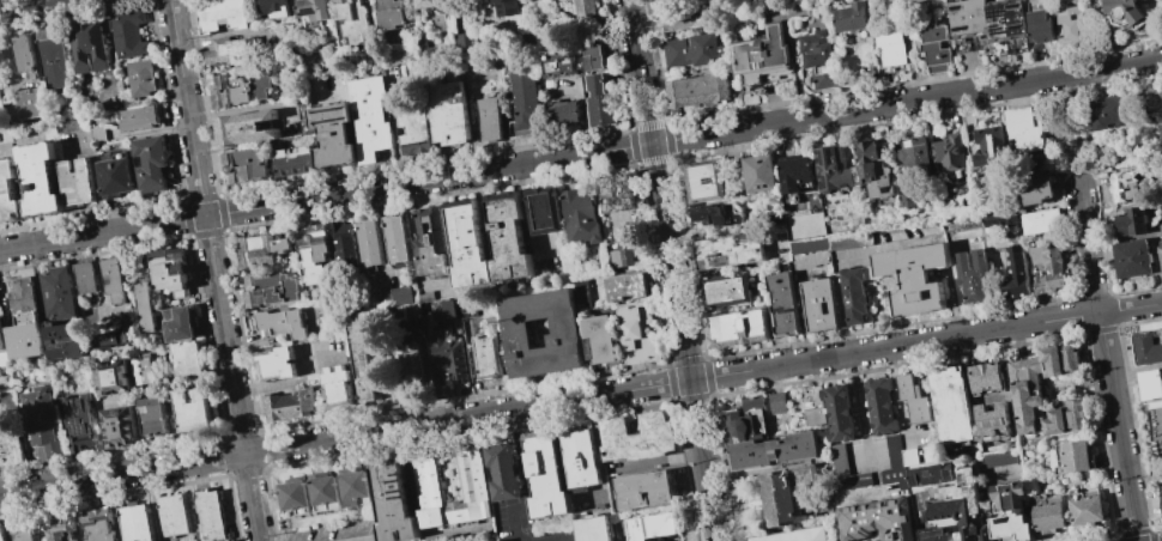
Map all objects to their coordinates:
road: (23, 4)
building: (429, 4)
rooftop solar panel: (1011, 5)
building: (504, 7)
rooftop solar panel: (956, 7)
building: (276, 8)
building: (314, 8)
rooftop solar panel: (309, 10)
building: (583, 10)
rooftop solar panel: (997, 10)
building: (1126, 11)
building: (389, 13)
building: (220, 14)
rooftop solar panel: (998, 14)
building: (985, 17)
building: (852, 18)
building: (352, 19)
building: (682, 20)
rooftop solar panel: (995, 24)
building: (1067, 24)
rooftop solar panel: (1016, 26)
building: (1040, 26)
rooftop solar panel: (962, 28)
rooftop solar panel: (998, 28)
rooftop solar panel: (999, 31)
building: (129, 34)
building: (462, 42)
road: (1130, 43)
building: (890, 44)
building: (89, 45)
building: (933, 45)
building: (428, 49)
building: (689, 50)
building: (229, 51)
building: (761, 51)
building: (24, 53)
road: (1070, 54)
building: (591, 56)
building: (52, 57)
building: (818, 57)
building: (555, 62)
rooftop solar panel: (763, 63)
rooftop solar panel: (754, 65)
road: (1058, 67)
building: (140, 77)
building: (260, 84)
building: (697, 90)
building: (228, 92)
building: (522, 93)
building: (1154, 99)
building: (600, 102)
building: (29, 103)
building: (1109, 110)
building: (444, 113)
building: (559, 113)
building: (140, 117)
building: (368, 120)
building: (486, 120)
building: (68, 123)
building: (246, 128)
building: (1024, 128)
building: (1158, 128)
building: (411, 129)
building: (327, 130)
building: (97, 134)
building: (987, 148)
rooftop solar panel: (831, 152)
building: (949, 152)
building: (915, 153)
road: (581, 154)
rooftop solar panel: (823, 158)
building: (292, 162)
building: (151, 163)
building: (244, 165)
building: (873, 168)
building: (833, 169)
building: (759, 172)
building: (794, 172)
building: (114, 177)
building: (38, 178)
building: (75, 181)
building: (704, 182)
rooftop solar panel: (828, 182)
building: (1124, 186)
rooftop solar panel: (886, 188)
building: (1036, 189)
building: (8, 193)
building: (616, 194)
building: (541, 211)
building: (716, 214)
building: (579, 215)
building: (999, 218)
building: (1040, 221)
building: (1132, 221)
building: (507, 237)
building: (395, 238)
building: (429, 241)
building: (369, 242)
building: (343, 243)
building: (466, 244)
building: (260, 250)
building: (728, 250)
building: (1161, 253)
building: (314, 254)
building: (621, 254)
rooftop solar panel: (909, 254)
building: (1133, 257)
road: (214, 269)
building: (1046, 269)
building: (170, 270)
road: (672, 270)
building: (1015, 273)
building: (140, 274)
building: (913, 275)
building: (972, 275)
building: (85, 276)
building: (114, 280)
building: (627, 286)
building: (270, 288)
building: (600, 288)
building: (725, 290)
building: (59, 293)
building: (23, 296)
building: (392, 296)
building: (852, 296)
building: (783, 305)
building: (819, 305)
road: (842, 305)
building: (145, 306)
building: (443, 309)
building: (411, 311)
building: (282, 322)
building: (180, 324)
building: (738, 329)
building: (637, 332)
building: (127, 333)
building: (563, 334)
building: (25, 336)
building: (111, 339)
building: (599, 340)
building: (62, 341)
road: (926, 341)
building: (1, 342)
building: (1150, 347)
building: (486, 352)
building: (4, 358)
building: (188, 360)
building: (452, 360)
building: (274, 364)
building: (361, 364)
building: (408, 364)
road: (1107, 364)
building: (144, 371)
building: (111, 377)
building: (986, 378)
road: (292, 382)
building: (1027, 383)
building: (1151, 385)
building: (338, 388)
building: (913, 399)
building: (7, 400)
building: (776, 403)
building: (952, 403)
building: (289, 405)
building: (879, 406)
rooftop solar panel: (75, 409)
building: (192, 409)
building: (837, 413)
building: (152, 417)
building: (813, 417)
building: (745, 419)
building: (993, 421)
building: (41, 423)
building: (78, 423)
rooftop solar panel: (79, 426)
building: (120, 427)
road: (345, 437)
building: (637, 437)
building: (6, 444)
building: (773, 450)
building: (930, 452)
building: (909, 456)
road: (519, 457)
building: (998, 457)
building: (1073, 457)
building: (579, 460)
road: (653, 462)
building: (894, 462)
building: (846, 469)
building: (502, 472)
building: (930, 474)
building: (545, 478)
building: (1161, 486)
building: (353, 487)
building: (474, 487)
building: (644, 490)
building: (322, 491)
building: (783, 493)
building: (293, 496)
building: (391, 503)
building: (955, 510)
building: (1087, 510)
building: (1010, 512)
building: (174, 515)
building: (208, 516)
road: (513, 516)
building: (1048, 516)
building: (877, 519)
building: (134, 523)
building: (96, 525)
building: (652, 528)
building: (59, 529)
building: (594, 529)
building: (23, 531)
building: (1, 533)
parking lot: (339, 533)
building: (795, 535)
road: (553, 539)
road: (368, 540)

